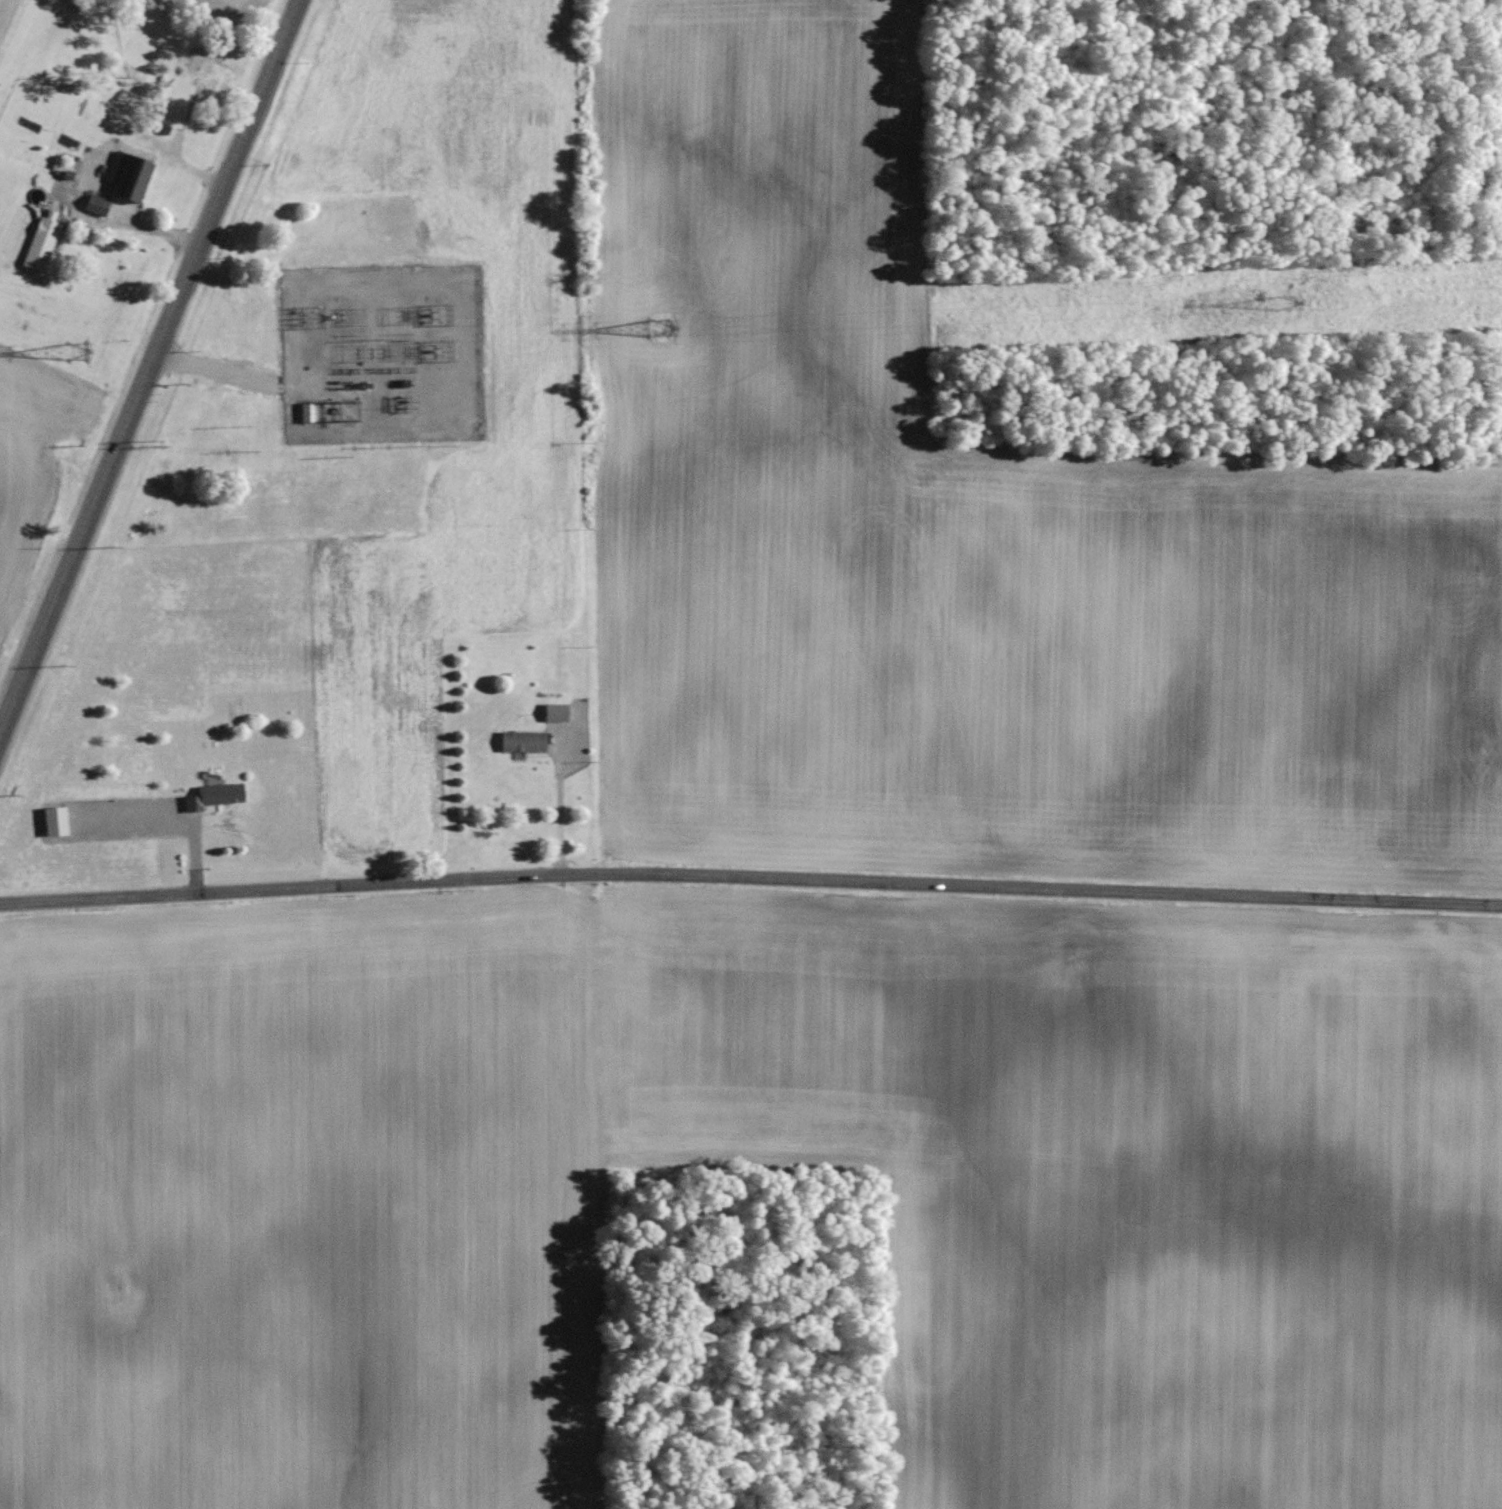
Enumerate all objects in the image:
building: (118, 184)
building: (40, 244)
power substation: (383, 352)
power tower: (76, 353)
road: (151, 377)
building: (307, 411)
building: (555, 710)
building: (523, 740)
building: (216, 793)
road: (564, 809)
building: (53, 819)
road: (750, 874)

